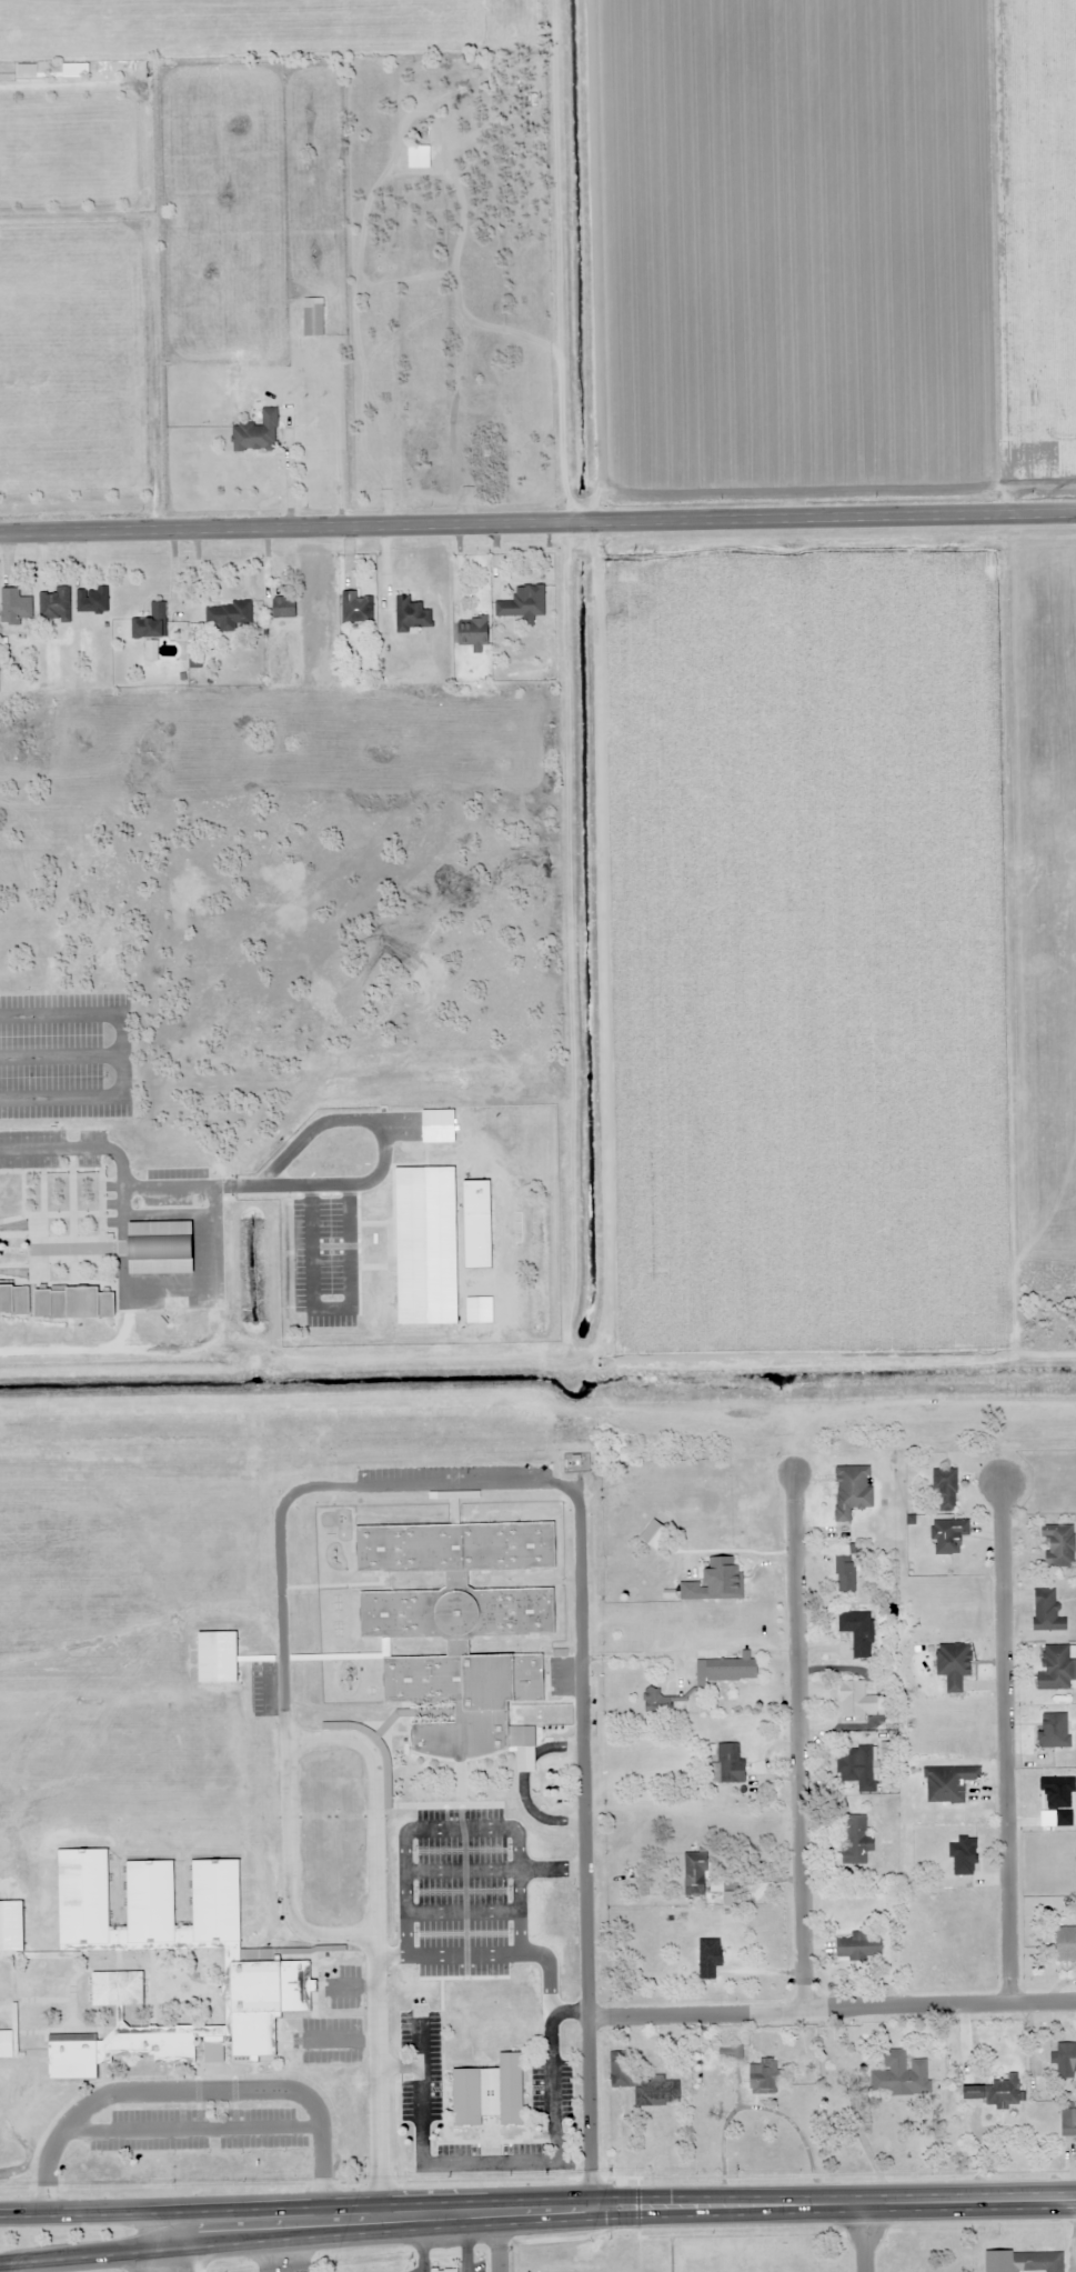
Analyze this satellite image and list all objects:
building: (312, 317)
building: (257, 433)
road: (537, 531)
building: (91, 599)
building: (523, 603)
building: (53, 604)
building: (16, 607)
building: (284, 607)
building: (356, 609)
building: (411, 614)
building: (228, 615)
building: (151, 622)
building: (161, 1248)
building: (13, 1300)
building: (73, 1303)
railway: (537, 1435)
building: (945, 1490)
building: (852, 1491)
building: (948, 1535)
building: (1058, 1545)
building: (845, 1568)
building: (716, 1581)
building: (1046, 1611)
building: (460, 1629)
building: (858, 1632)
building: (218, 1658)
building: (953, 1664)
building: (1056, 1668)
building: (725, 1671)
building: (856, 1701)
building: (656, 1702)
road: (1004, 1741)
road: (797, 1742)
building: (727, 1764)
building: (856, 1765)
building: (948, 1783)
building: (855, 1840)
road: (584, 1850)
building: (695, 1874)
building: (11, 1925)
building: (1066, 1943)
building: (858, 1948)
building: (708, 1958)
building: (271, 1964)
road: (832, 2011)
building: (6, 2043)
building: (730, 2053)
building: (1064, 2056)
building: (901, 2073)
building: (763, 2076)
building: (641, 2083)
building: (995, 2090)
building: (489, 2092)
building: (1067, 2122)
road: (889, 2203)
road: (145, 2212)
road: (497, 2212)
road: (864, 2238)
road: (145, 2242)
road: (499, 2242)
building: (1023, 2261)
building: (444, 2270)

